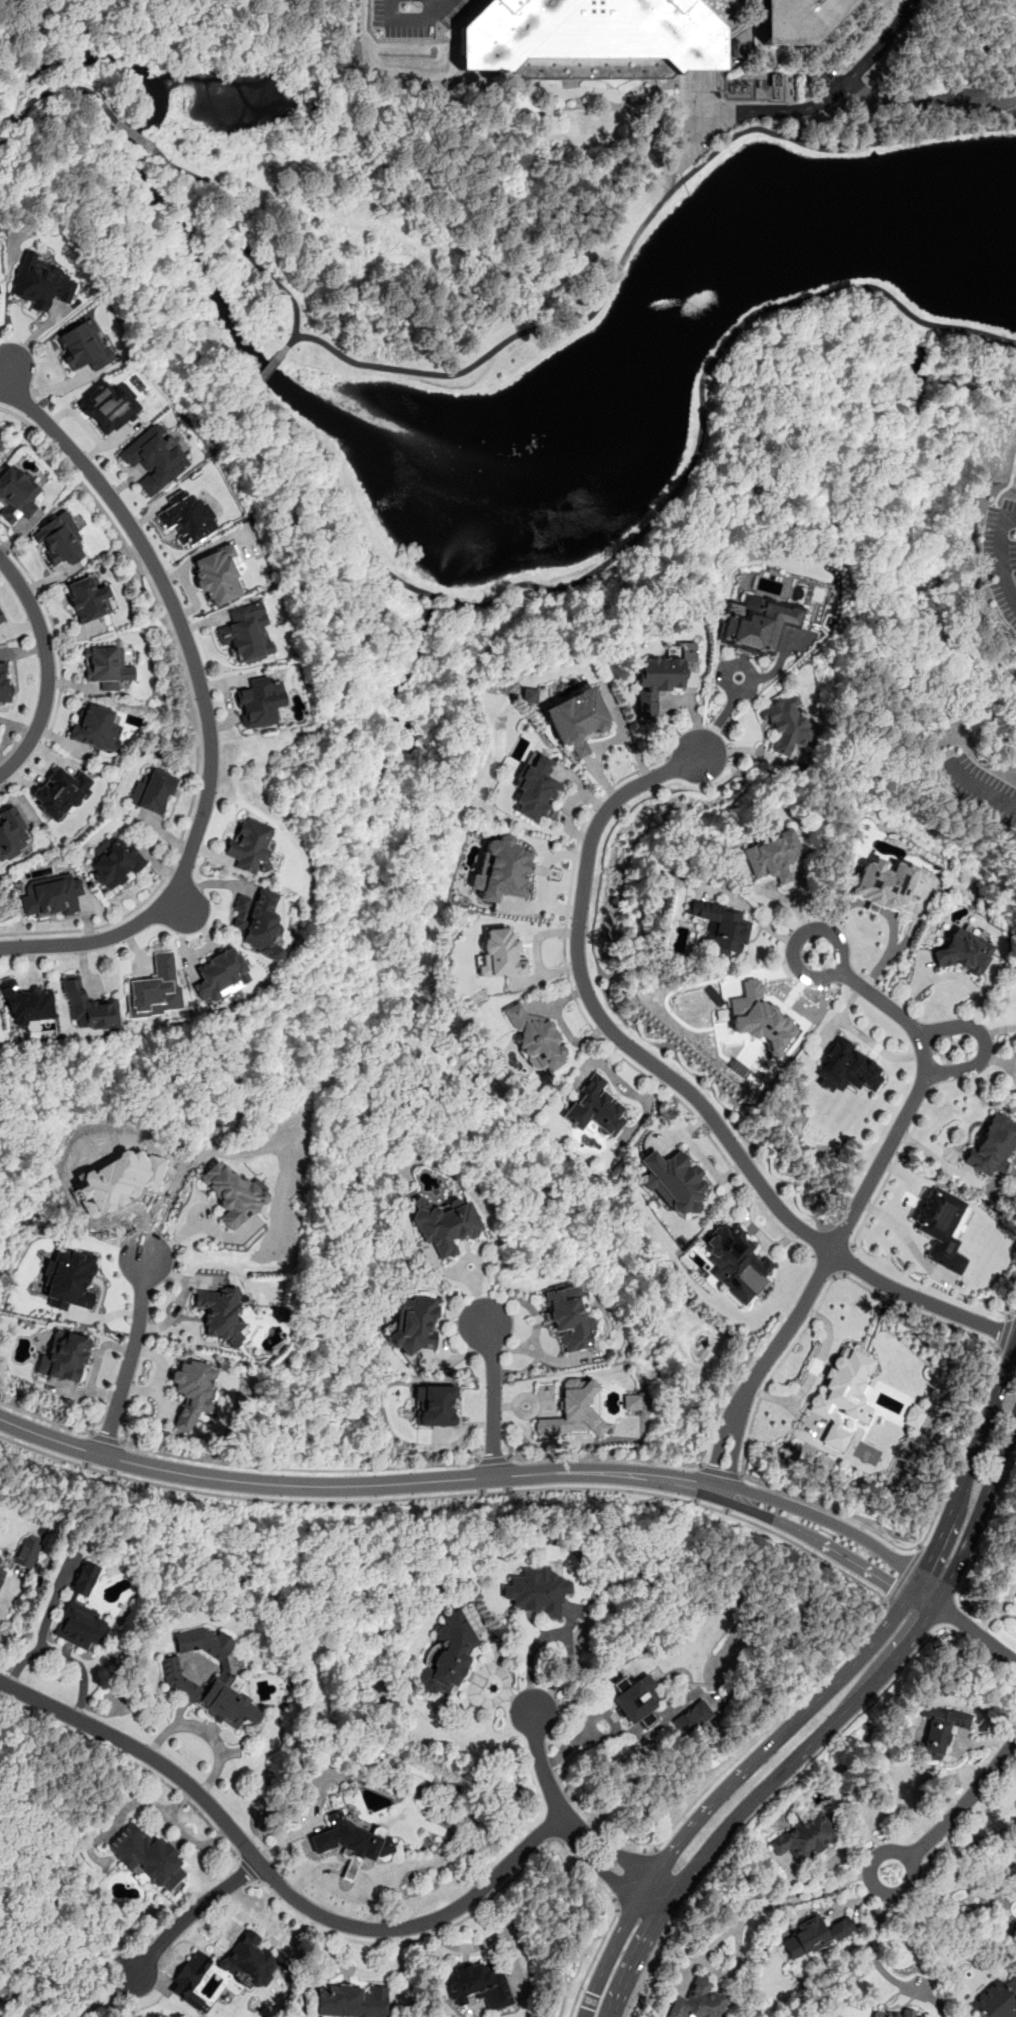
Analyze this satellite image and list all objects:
road: (427, 7)
building: (1011, 7)
road: (415, 15)
building: (805, 19)
building: (593, 39)
park: (951, 69)
road: (53, 89)
road: (822, 101)
road: (929, 103)
road: (134, 136)
road: (238, 231)
road: (637, 234)
park: (494, 279)
building: (40, 282)
building: (84, 345)
road: (271, 365)
building: (108, 407)
building: (155, 458)
building: (17, 493)
building: (187, 515)
road: (1009, 518)
road: (645, 526)
building: (60, 539)
road: (1000, 560)
building: (217, 573)
building: (88, 597)
building: (1, 617)
building: (757, 622)
building: (246, 631)
road: (60, 666)
building: (106, 666)
road: (48, 667)
building: (664, 676)
building: (4, 682)
building: (529, 695)
building: (259, 701)
road: (190, 703)
road: (204, 704)
road: (721, 718)
building: (576, 720)
building: (787, 723)
building: (95, 727)
road: (978, 787)
building: (535, 789)
building: (153, 791)
building: (60, 792)
building: (12, 833)
building: (249, 844)
building: (772, 856)
building: (116, 863)
building: (501, 869)
building: (883, 885)
building: (53, 895)
building: (258, 922)
building: (721, 925)
building: (964, 950)
building: (500, 953)
building: (1015, 968)
building: (221, 975)
building: (156, 988)
building: (28, 1005)
building: (89, 1008)
building: (759, 1016)
road: (590, 1027)
building: (536, 1038)
road: (986, 1044)
building: (848, 1067)
road: (680, 1086)
building: (595, 1107)
building: (993, 1145)
road: (892, 1166)
building: (672, 1183)
building: (231, 1191)
road: (860, 1199)
road: (195, 1209)
building: (444, 1224)
building: (940, 1228)
road: (171, 1241)
building: (733, 1260)
road: (846, 1261)
road: (823, 1269)
building: (69, 1279)
road: (184, 1297)
building: (219, 1313)
road: (1011, 1314)
building: (280, 1315)
building: (569, 1318)
building: (414, 1323)
road: (1003, 1333)
road: (997, 1352)
building: (64, 1356)
road: (130, 1360)
building: (191, 1391)
building: (842, 1394)
road: (493, 1401)
building: (631, 1401)
building: (434, 1404)
building: (573, 1411)
building: (914, 1416)
road: (45, 1419)
road: (107, 1438)
road: (603, 1456)
road: (493, 1459)
road: (299, 1469)
road: (719, 1471)
road: (465, 1478)
road: (625, 1490)
building: (26, 1552)
building: (0, 1557)
building: (1, 1573)
road: (903, 1576)
building: (539, 1591)
road: (9, 1593)
building: (81, 1611)
road: (965, 1625)
road: (558, 1634)
building: (447, 1654)
building: (225, 1677)
road: (820, 1695)
building: (636, 1699)
building: (692, 1718)
road: (826, 1727)
building: (940, 1729)
road: (131, 1761)
road: (539, 1767)
road: (957, 1810)
road: (998, 1810)
building: (805, 1837)
building: (350, 1839)
building: (147, 1856)
road: (248, 1870)
road: (273, 1877)
road: (630, 1878)
road: (962, 1880)
road: (502, 1886)
road: (645, 1887)
road: (659, 1893)
road: (779, 1902)
road: (188, 1914)
road: (921, 1929)
building: (815, 1935)
road: (868, 1942)
building: (250, 1961)
building: (190, 1979)
building: (478, 1985)
road: (54, 1994)
road: (105, 1997)
building: (996, 1999)
building: (351, 2001)
building: (699, 2001)
building: (890, 2012)

